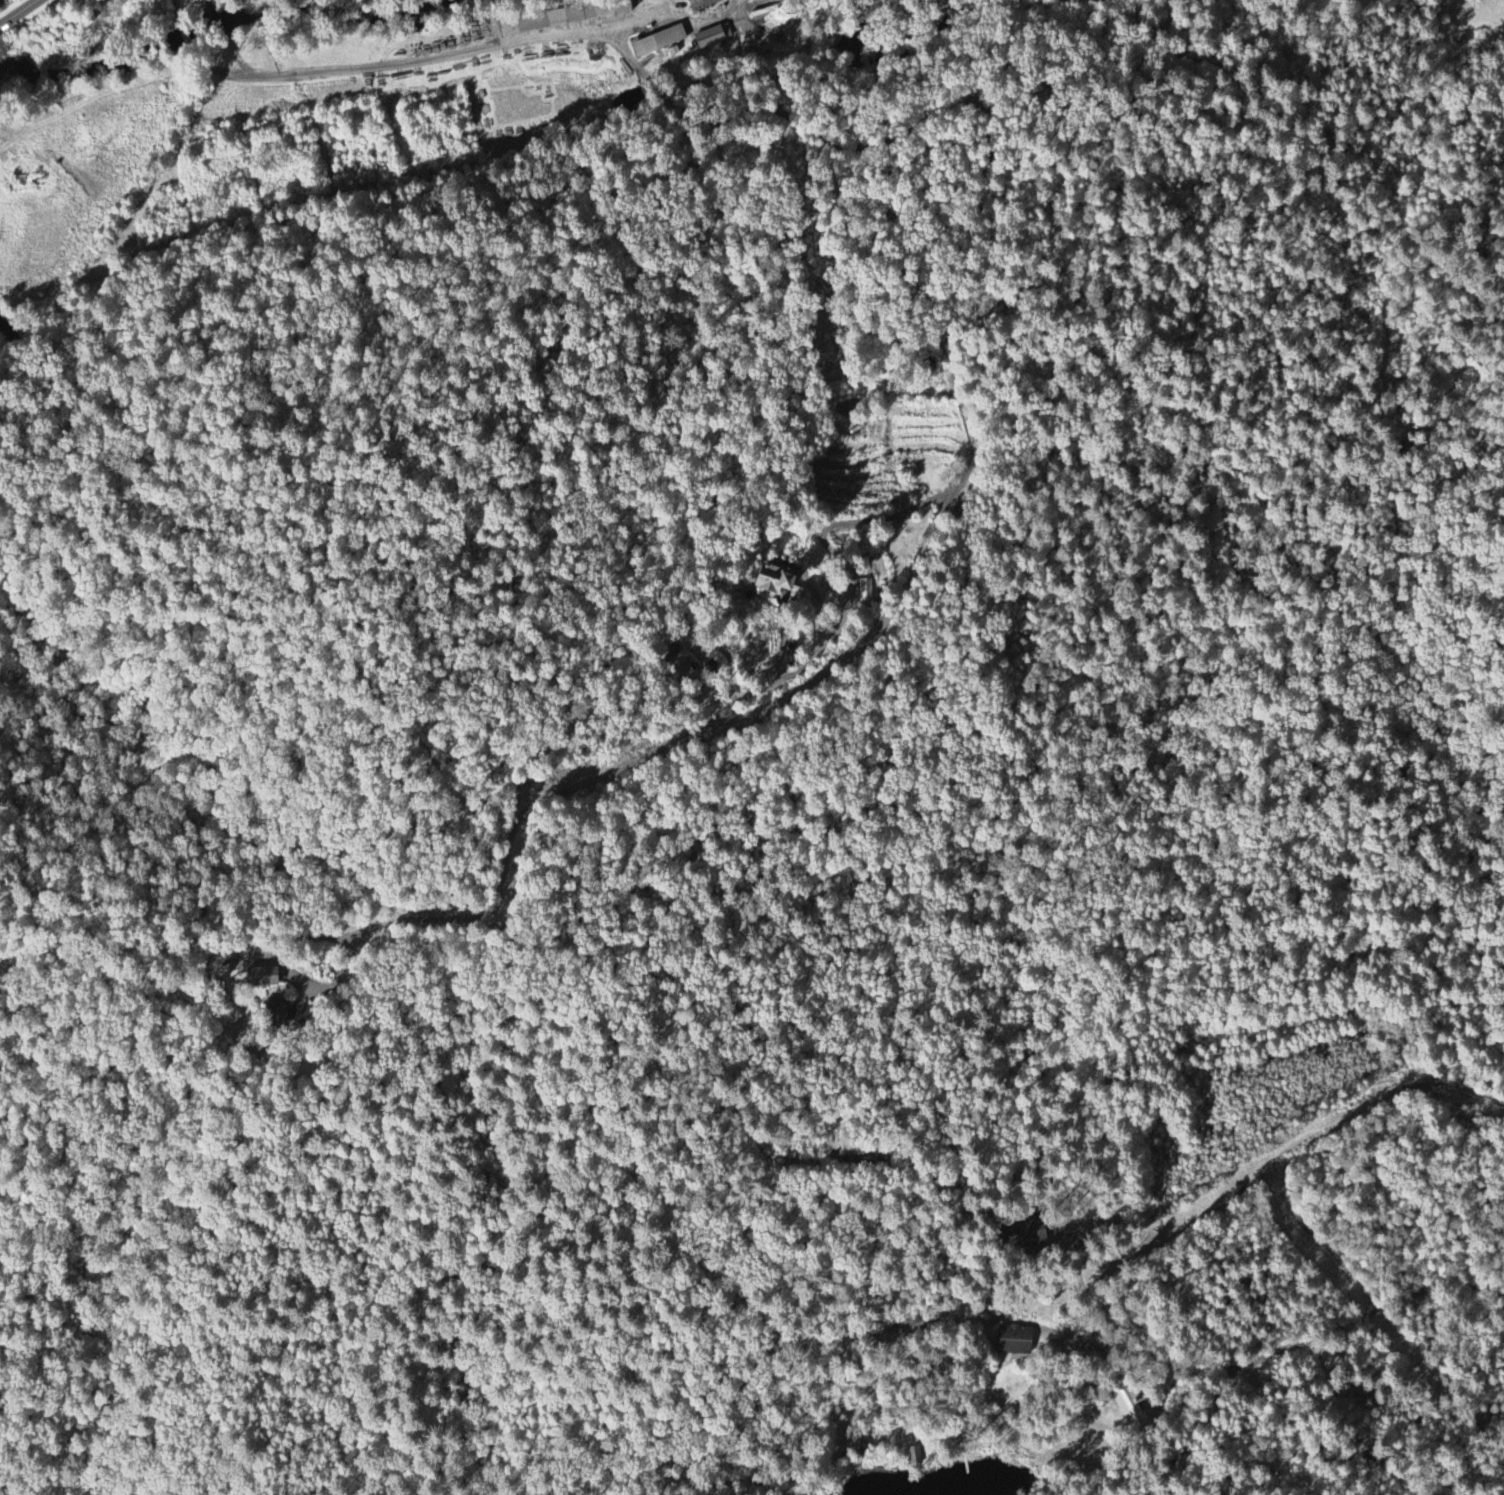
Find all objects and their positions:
building: (704, 4)
road: (19, 13)
river: (882, 25)
building: (714, 36)
building: (661, 41)
river: (109, 49)
road: (1280, 115)
road: (960, 268)
building: (779, 580)
building: (866, 593)
building: (265, 977)
building: (277, 1010)
road: (1234, 1134)
road: (1345, 1315)
building: (1016, 1339)
road: (1124, 1347)
building: (1127, 1405)

